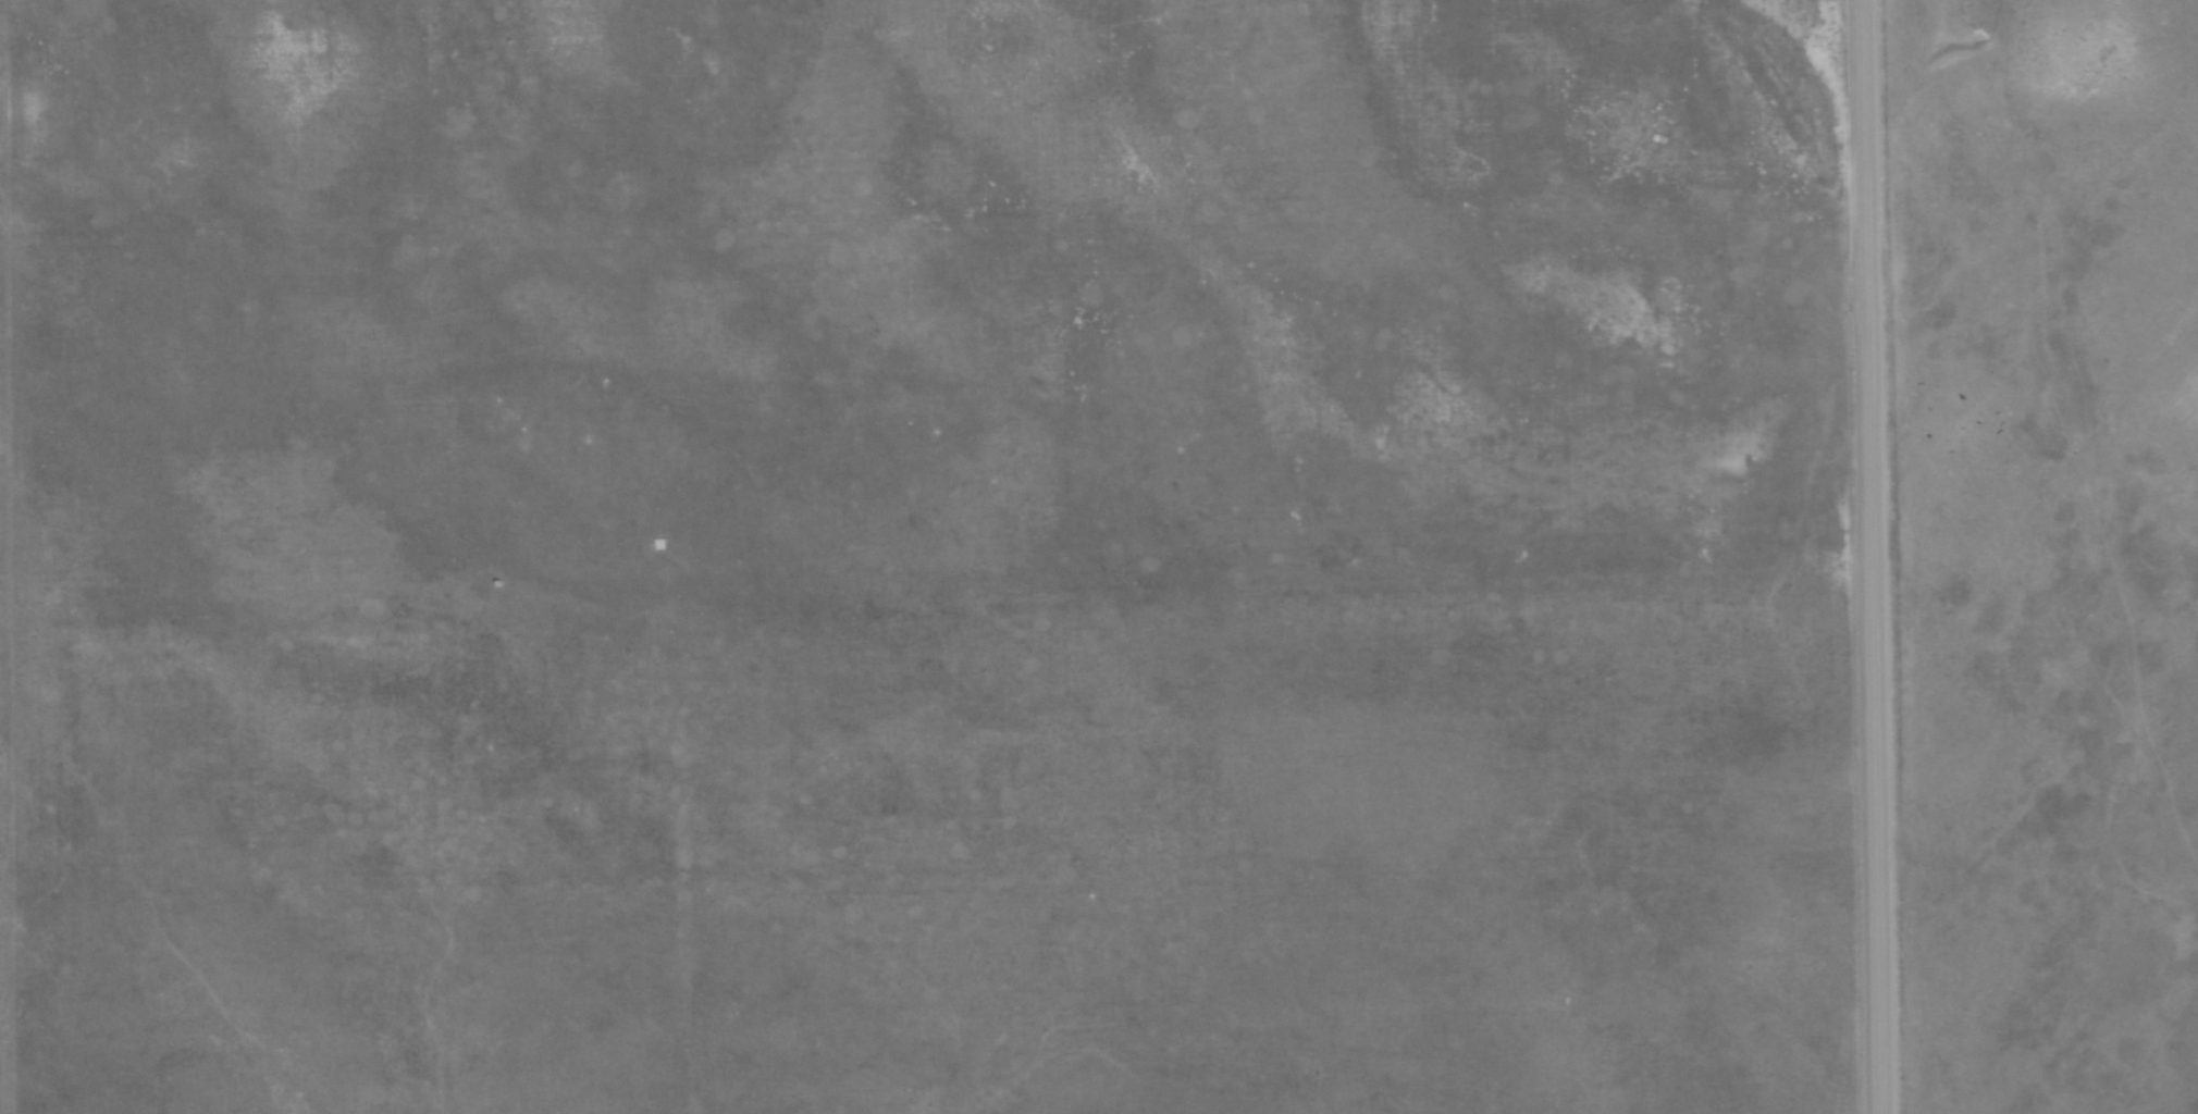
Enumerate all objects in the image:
road: (1874, 557)

